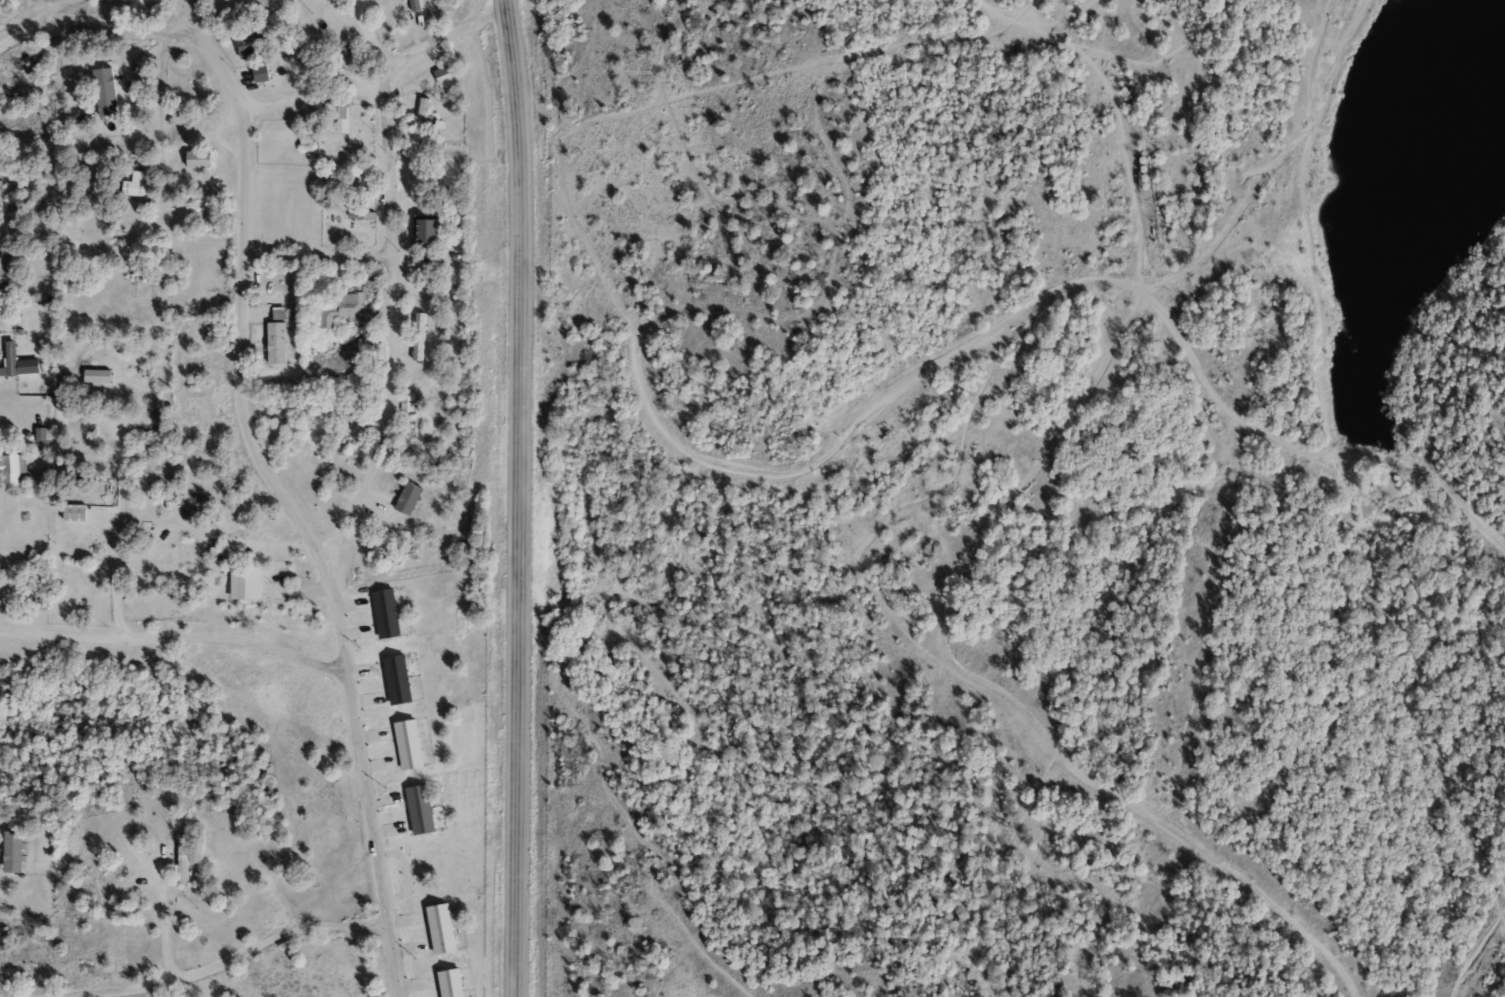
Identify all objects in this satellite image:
building: (414, 5)
road: (94, 31)
road: (442, 39)
road: (168, 44)
building: (253, 44)
building: (347, 50)
building: (262, 73)
building: (443, 77)
building: (106, 91)
road: (1116, 112)
building: (338, 115)
building: (421, 119)
road: (156, 144)
road: (224, 146)
building: (201, 158)
building: (93, 167)
building: (136, 183)
building: (352, 188)
building: (361, 214)
road: (1231, 221)
building: (426, 229)
road: (314, 256)
building: (8, 267)
building: (343, 310)
road: (387, 333)
building: (418, 336)
building: (277, 343)
building: (11, 359)
building: (93, 371)
road: (895, 397)
building: (406, 402)
road: (1318, 457)
building: (11, 469)
road: (280, 493)
building: (409, 498)
road: (518, 498)
building: (76, 513)
road: (120, 545)
building: (214, 573)
building: (271, 596)
building: (387, 613)
road: (170, 639)
building: (397, 680)
road: (989, 691)
building: (408, 745)
building: (419, 810)
building: (14, 852)
building: (182, 860)
road: (164, 924)
building: (440, 929)
road: (231, 957)
building: (450, 983)

